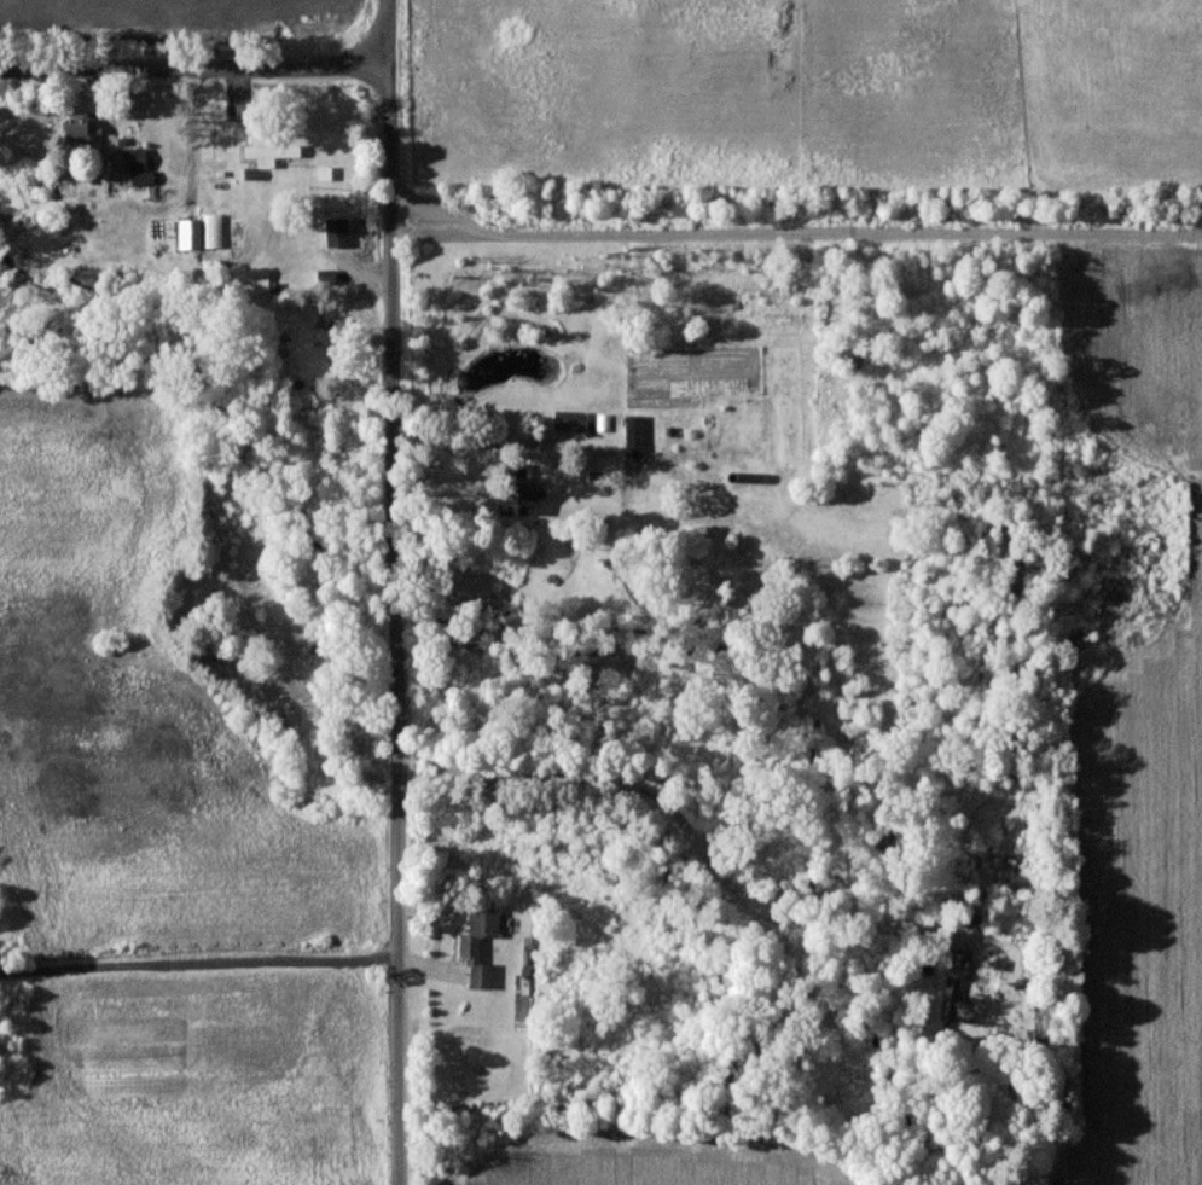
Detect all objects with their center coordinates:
road: (194, 72)
building: (246, 112)
building: (86, 130)
building: (137, 159)
building: (203, 232)
building: (338, 232)
building: (261, 279)
building: (571, 420)
building: (637, 435)
building: (524, 503)
road: (391, 592)
road: (703, 860)
building: (481, 946)
road: (198, 963)
building: (964, 1004)

